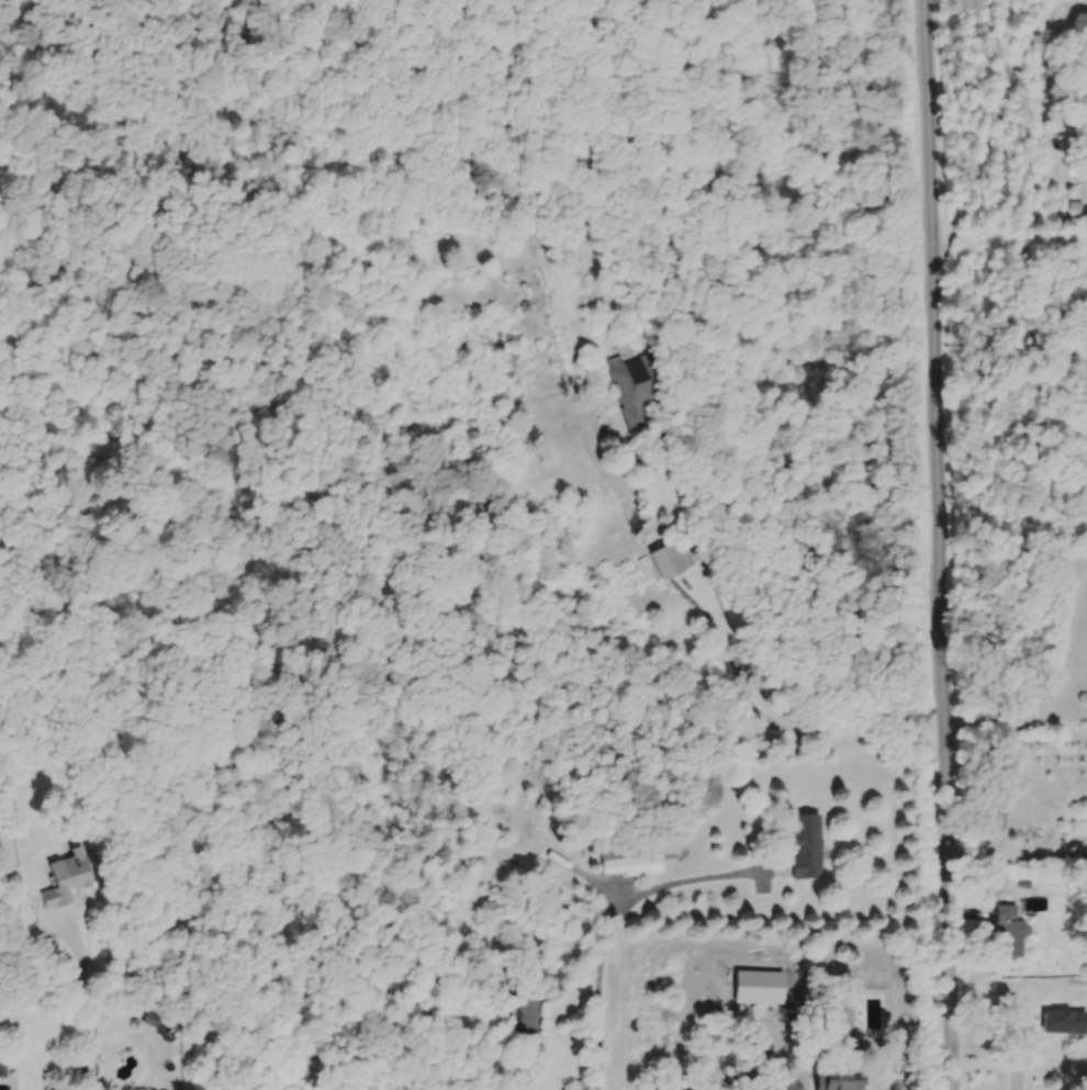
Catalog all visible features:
building: (1083, 97)
road: (998, 121)
building: (636, 390)
road: (940, 544)
building: (675, 560)
road: (726, 630)
road: (1055, 682)
building: (809, 847)
building: (632, 863)
building: (69, 878)
road: (616, 923)
building: (1011, 934)
road: (87, 1000)
building: (847, 1015)
building: (1066, 1023)
road: (1019, 1066)
building: (842, 1079)
building: (793, 1087)

